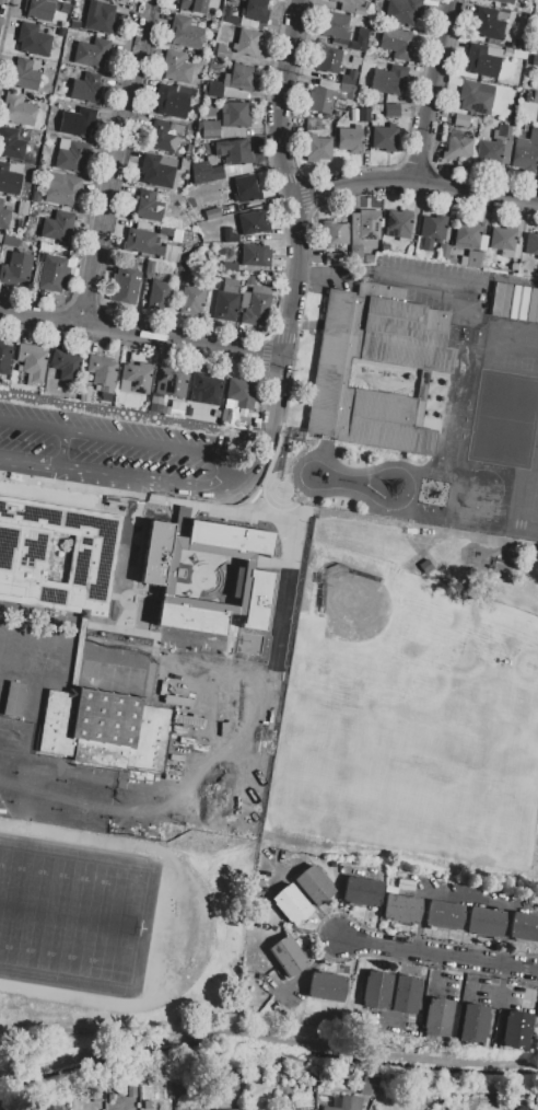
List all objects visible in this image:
building: (118, 0)
building: (503, 1)
building: (430, 2)
building: (348, 4)
building: (192, 5)
building: (39, 9)
building: (363, 9)
building: (402, 12)
building: (253, 13)
building: (229, 16)
building: (101, 18)
building: (489, 24)
building: (337, 25)
building: (186, 32)
building: (33, 41)
building: (359, 41)
building: (247, 43)
building: (397, 43)
building: (223, 53)
building: (91, 54)
building: (330, 60)
building: (355, 60)
building: (483, 60)
building: (535, 60)
building: (176, 67)
building: (23, 76)
building: (349, 78)
building: (388, 78)
building: (237, 82)
building: (86, 89)
building: (214, 90)
building: (348, 91)
road: (429, 91)
building: (535, 97)
building: (475, 99)
building: (173, 100)
road: (277, 100)
building: (321, 100)
building: (16, 111)
building: (391, 111)
building: (364, 115)
building: (234, 119)
building: (461, 120)
building: (79, 123)
building: (313, 124)
building: (324, 124)
building: (209, 128)
building: (164, 136)
building: (385, 138)
building: (350, 139)
building: (11, 144)
building: (457, 147)
building: (498, 147)
building: (317, 148)
building: (234, 151)
building: (527, 153)
building: (71, 155)
road: (110, 162)
building: (156, 172)
building: (215, 173)
building: (9, 181)
road: (414, 182)
building: (62, 189)
building: (246, 189)
building: (35, 196)
building: (202, 198)
building: (148, 207)
building: (211, 213)
building: (4, 215)
building: (254, 223)
building: (398, 223)
building: (365, 224)
building: (58, 227)
building: (433, 228)
building: (334, 233)
building: (470, 235)
building: (229, 236)
building: (11, 241)
building: (143, 241)
building: (505, 241)
building: (426, 244)
building: (530, 244)
building: (443, 252)
building: (255, 255)
building: (537, 257)
building: (332, 258)
building: (475, 258)
building: (230, 267)
building: (15, 270)
road: (384, 273)
building: (185, 274)
building: (54, 275)
road: (294, 278)
building: (249, 280)
building: (124, 287)
building: (160, 296)
building: (500, 299)
building: (191, 300)
building: (518, 303)
building: (224, 305)
building: (533, 307)
building: (256, 310)
road: (140, 334)
building: (0, 340)
building: (4, 358)
building: (31, 362)
building: (61, 371)
building: (101, 372)
building: (378, 377)
building: (136, 378)
building: (169, 382)
building: (204, 389)
road: (278, 390)
building: (241, 393)
building: (188, 412)
building: (225, 416)
road: (129, 433)
road: (17, 438)
road: (105, 451)
parking lot: (136, 452)
road: (259, 464)
road: (114, 474)
building: (256, 576)
building: (189, 615)
building: (77, 632)
park: (390, 649)
building: (103, 652)
park: (418, 703)
building: (314, 884)
building: (362, 891)
building: (292, 904)
building: (402, 909)
building: (444, 915)
park: (74, 916)
building: (484, 922)
building: (524, 926)
road: (438, 955)
building: (288, 956)
building: (325, 987)
building: (376, 991)
building: (406, 995)
building: (437, 1018)
building: (536, 1021)
building: (472, 1025)
building: (516, 1030)
road: (268, 1033)
building: (367, 1089)
building: (131, 1091)
building: (96, 1100)
building: (347, 1103)
building: (147, 1106)
building: (50, 1108)
building: (20, 1109)
building: (232, 1109)
building: (522, 1109)

